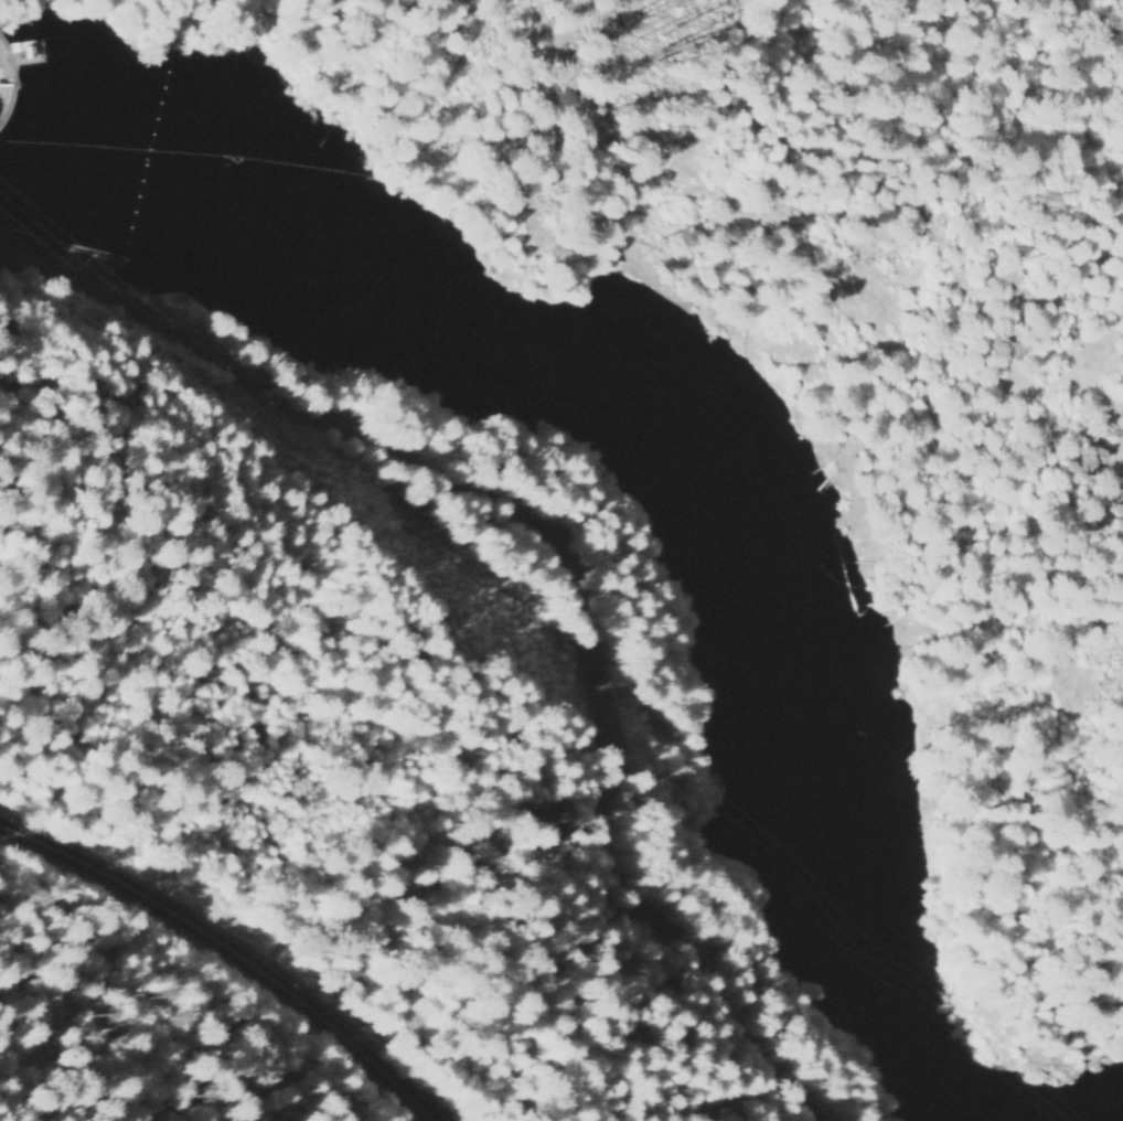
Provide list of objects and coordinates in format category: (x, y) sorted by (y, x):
dam: (10, 81)
road: (824, 312)
river: (686, 452)
road: (553, 566)
road: (224, 953)

